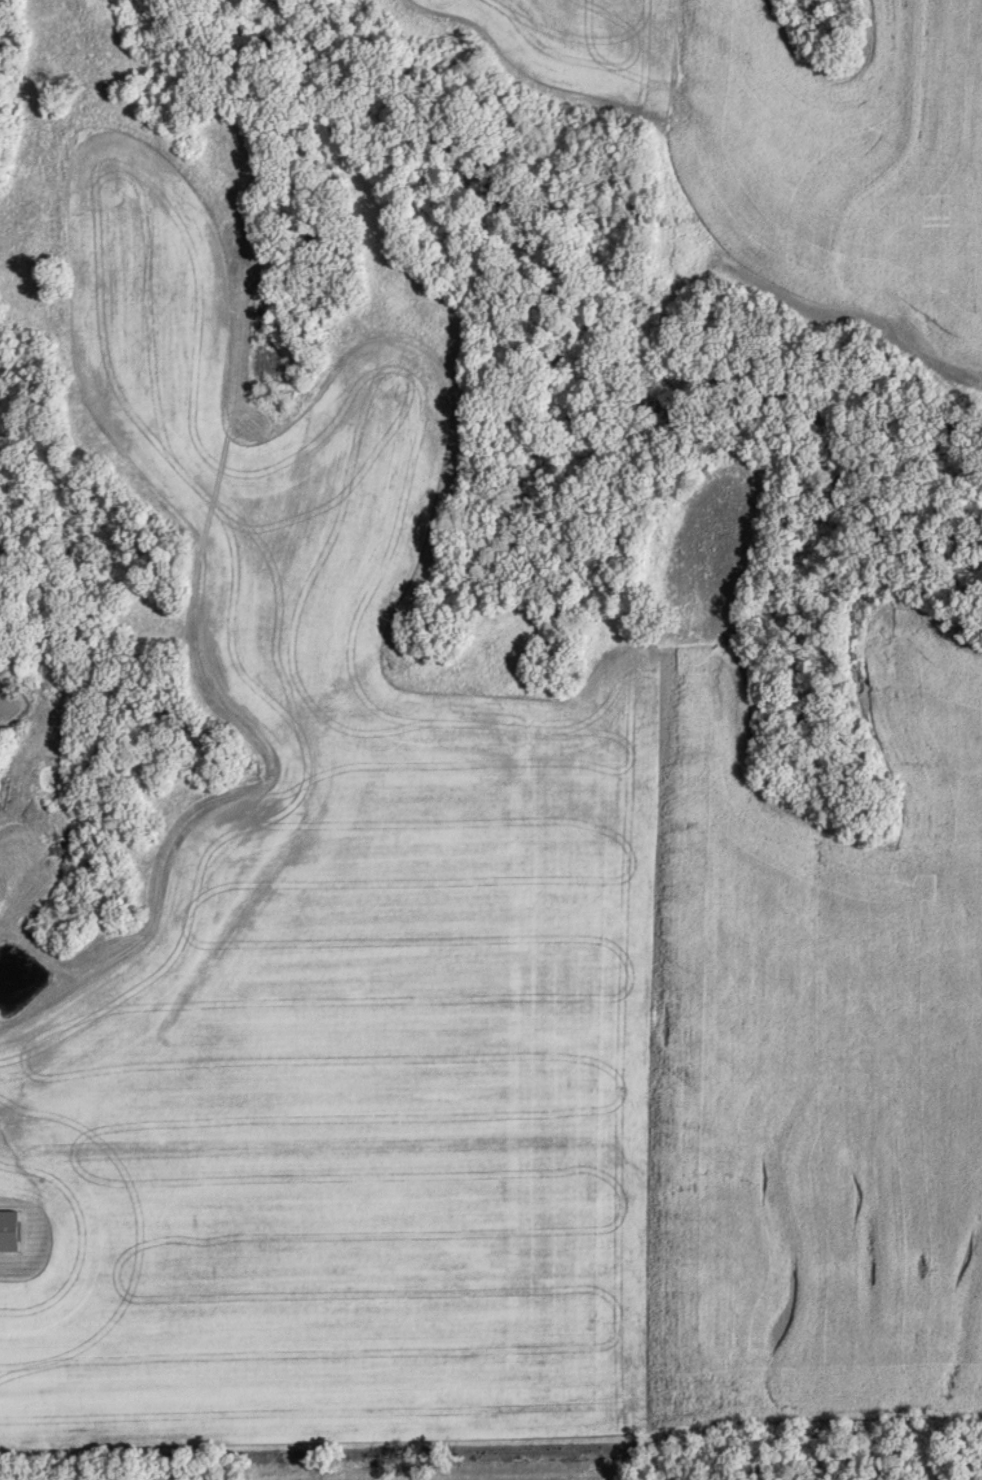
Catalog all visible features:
crop: (780, 156)
crop: (921, 714)
crop: (0, 921)
crop: (475, 979)
building: (11, 1231)

